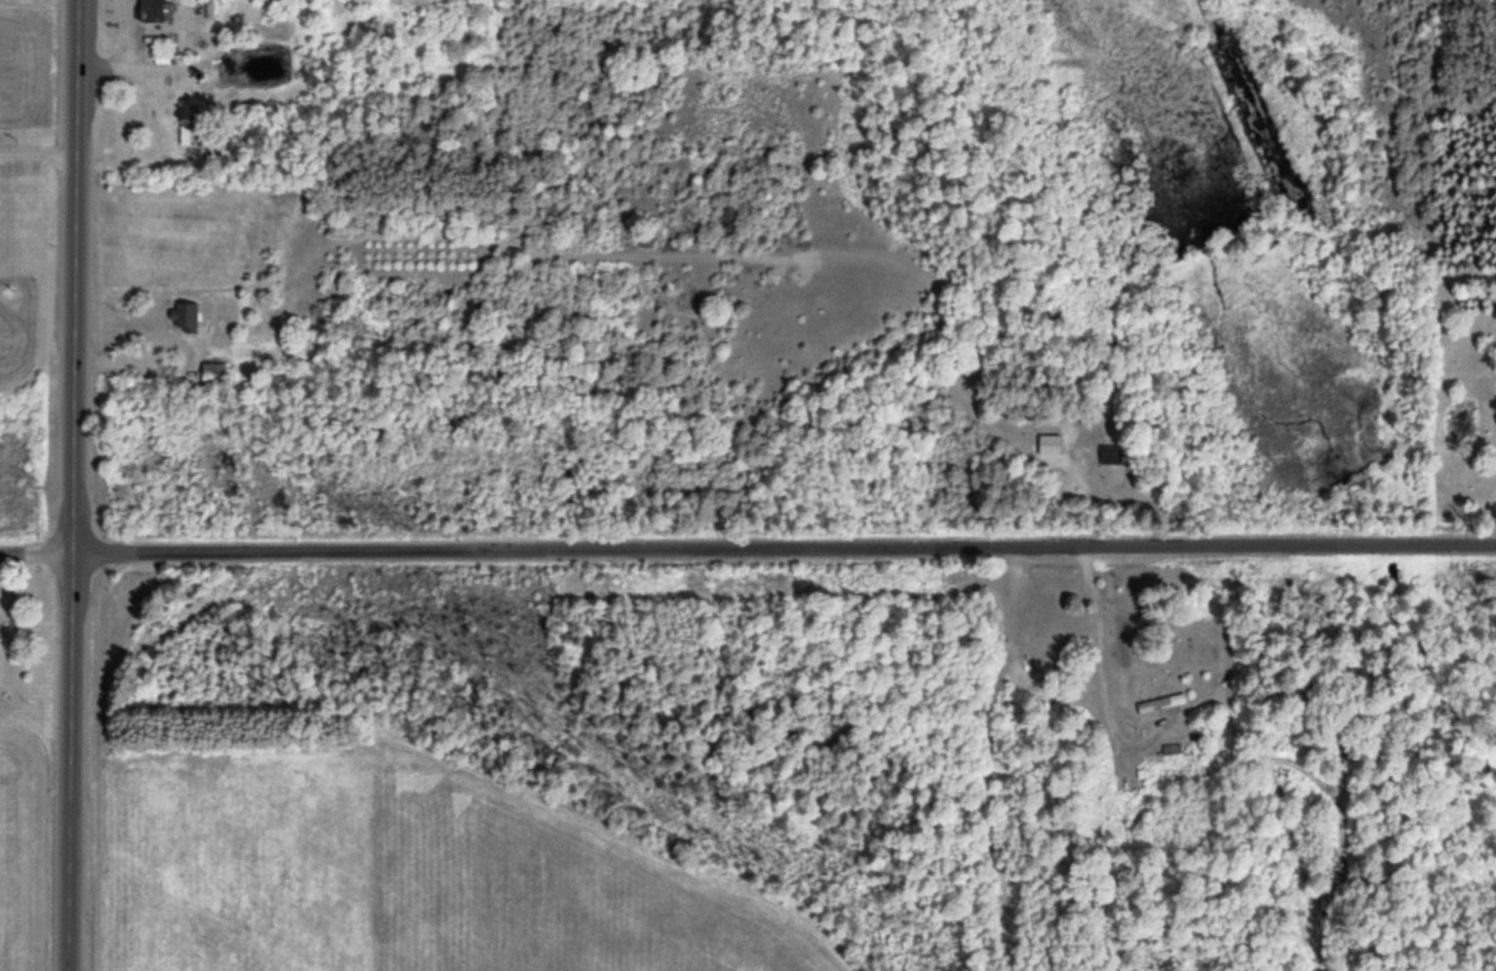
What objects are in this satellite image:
building: (209, 11)
building: (155, 16)
building: (186, 121)
road: (73, 276)
building: (187, 315)
building: (217, 370)
building: (1111, 453)
road: (783, 536)
road: (35, 553)
building: (1163, 702)
building: (1173, 748)
road: (70, 762)

